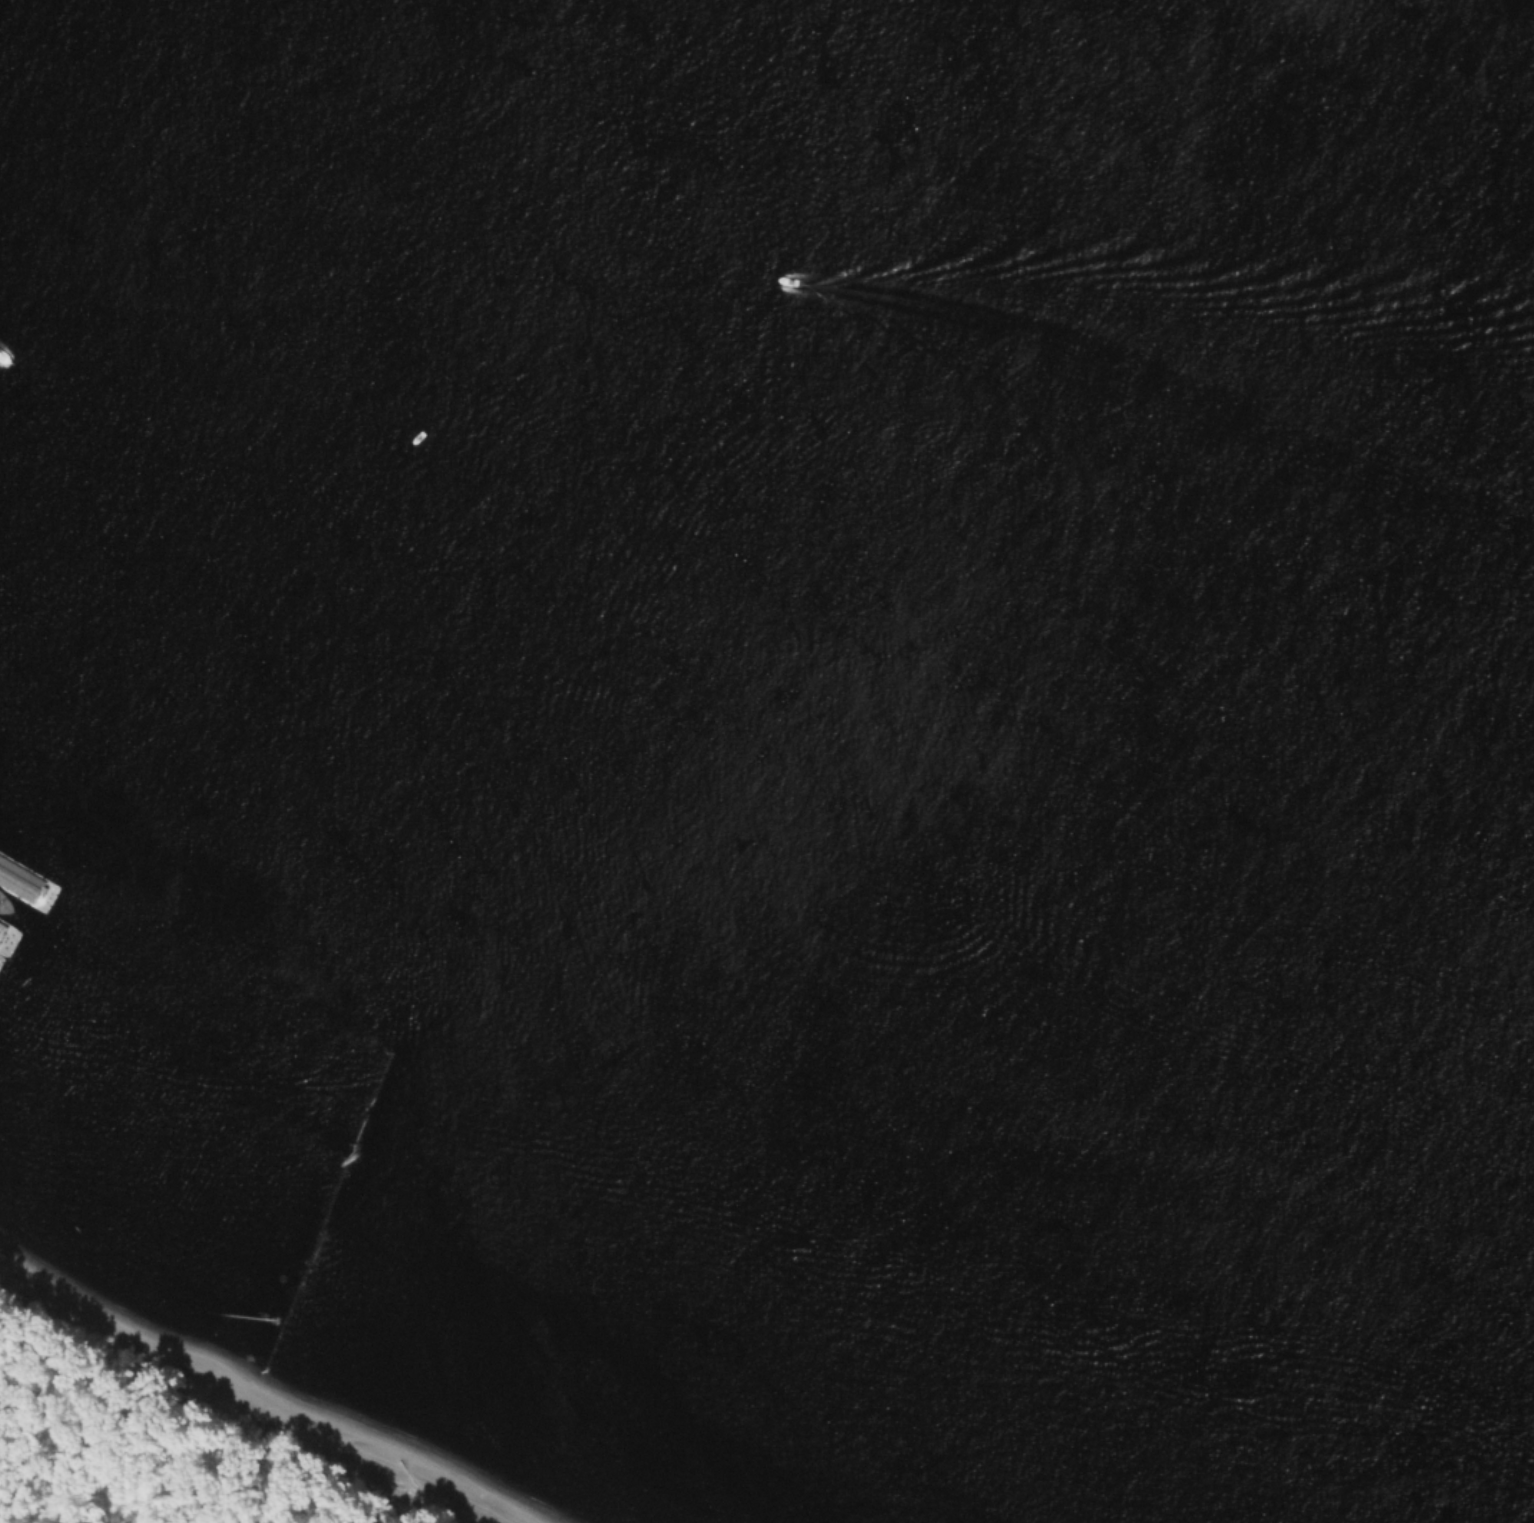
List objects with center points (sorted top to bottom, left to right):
river: (767, 787)
road: (172, 1435)

